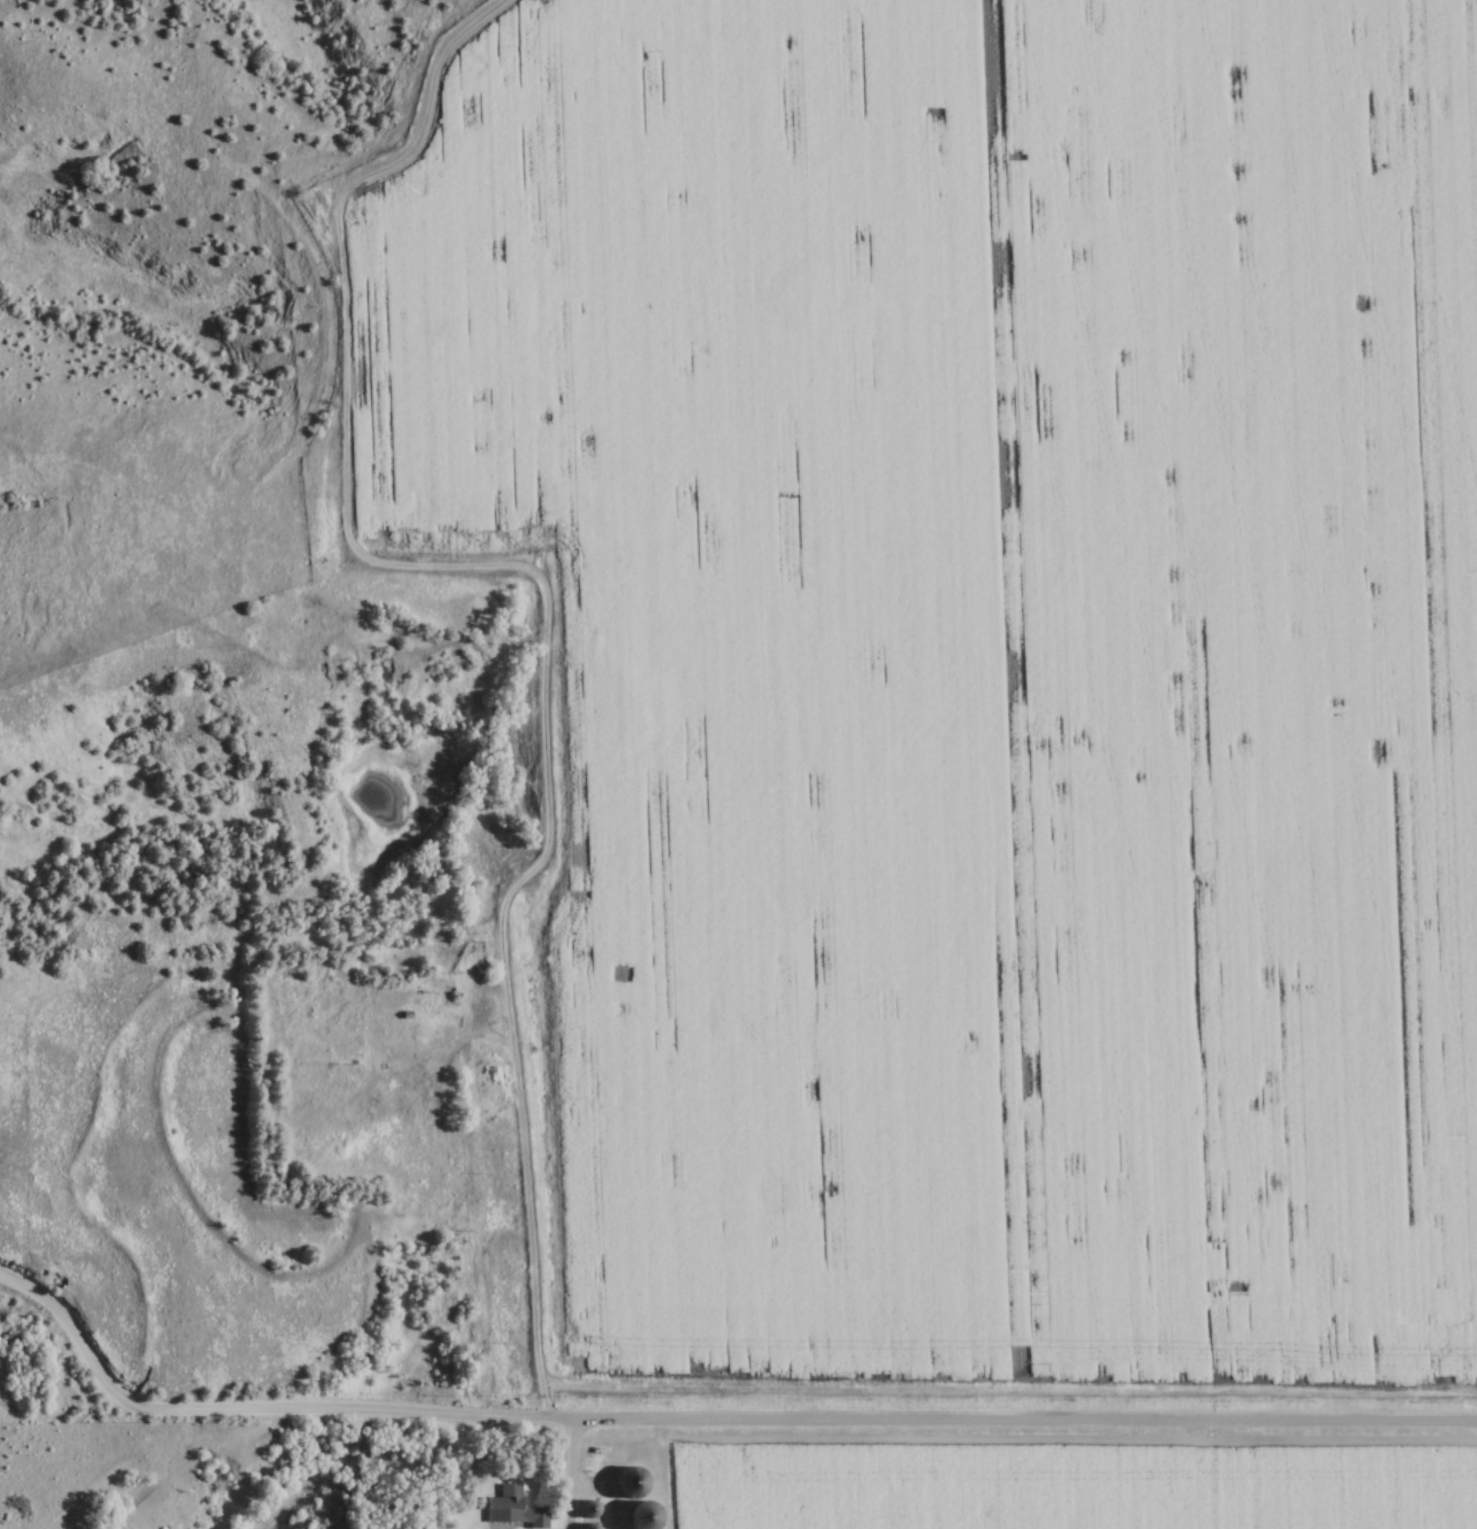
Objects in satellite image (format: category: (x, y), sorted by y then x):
road: (527, 1172)
road: (709, 1419)
road: (573, 1474)
building: (629, 1482)
building: (587, 1509)
building: (511, 1510)
building: (639, 1516)
building: (586, 1527)

